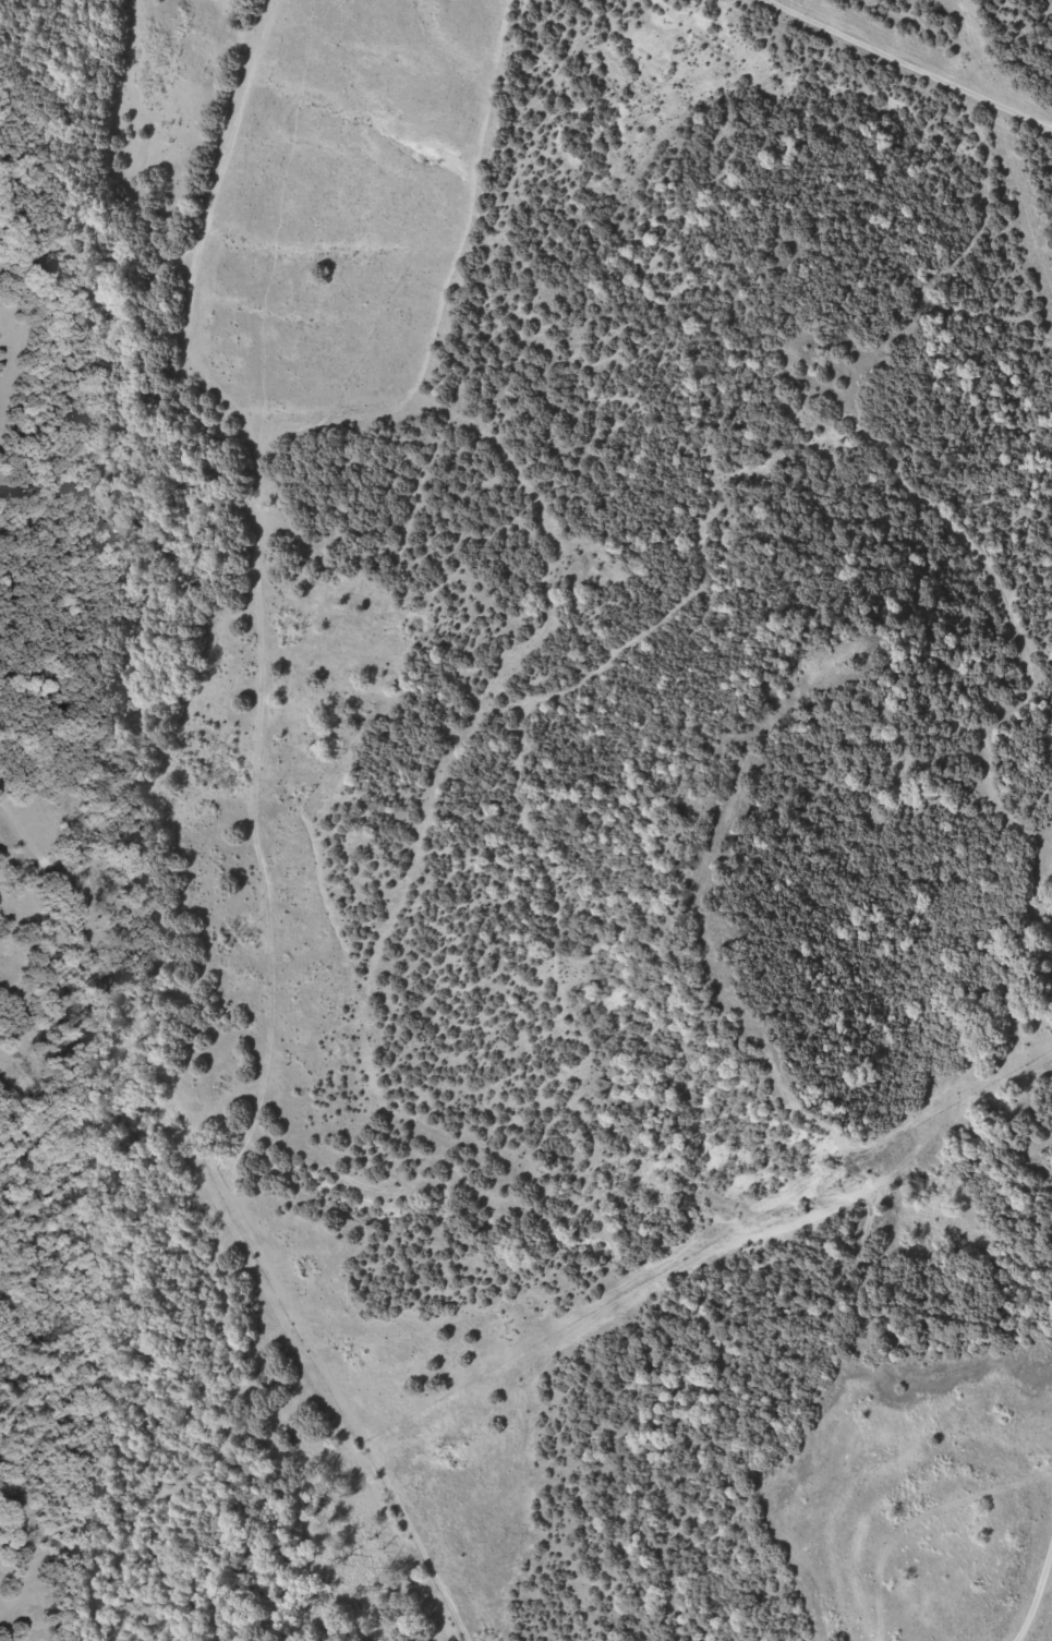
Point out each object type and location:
road: (1039, 1602)

